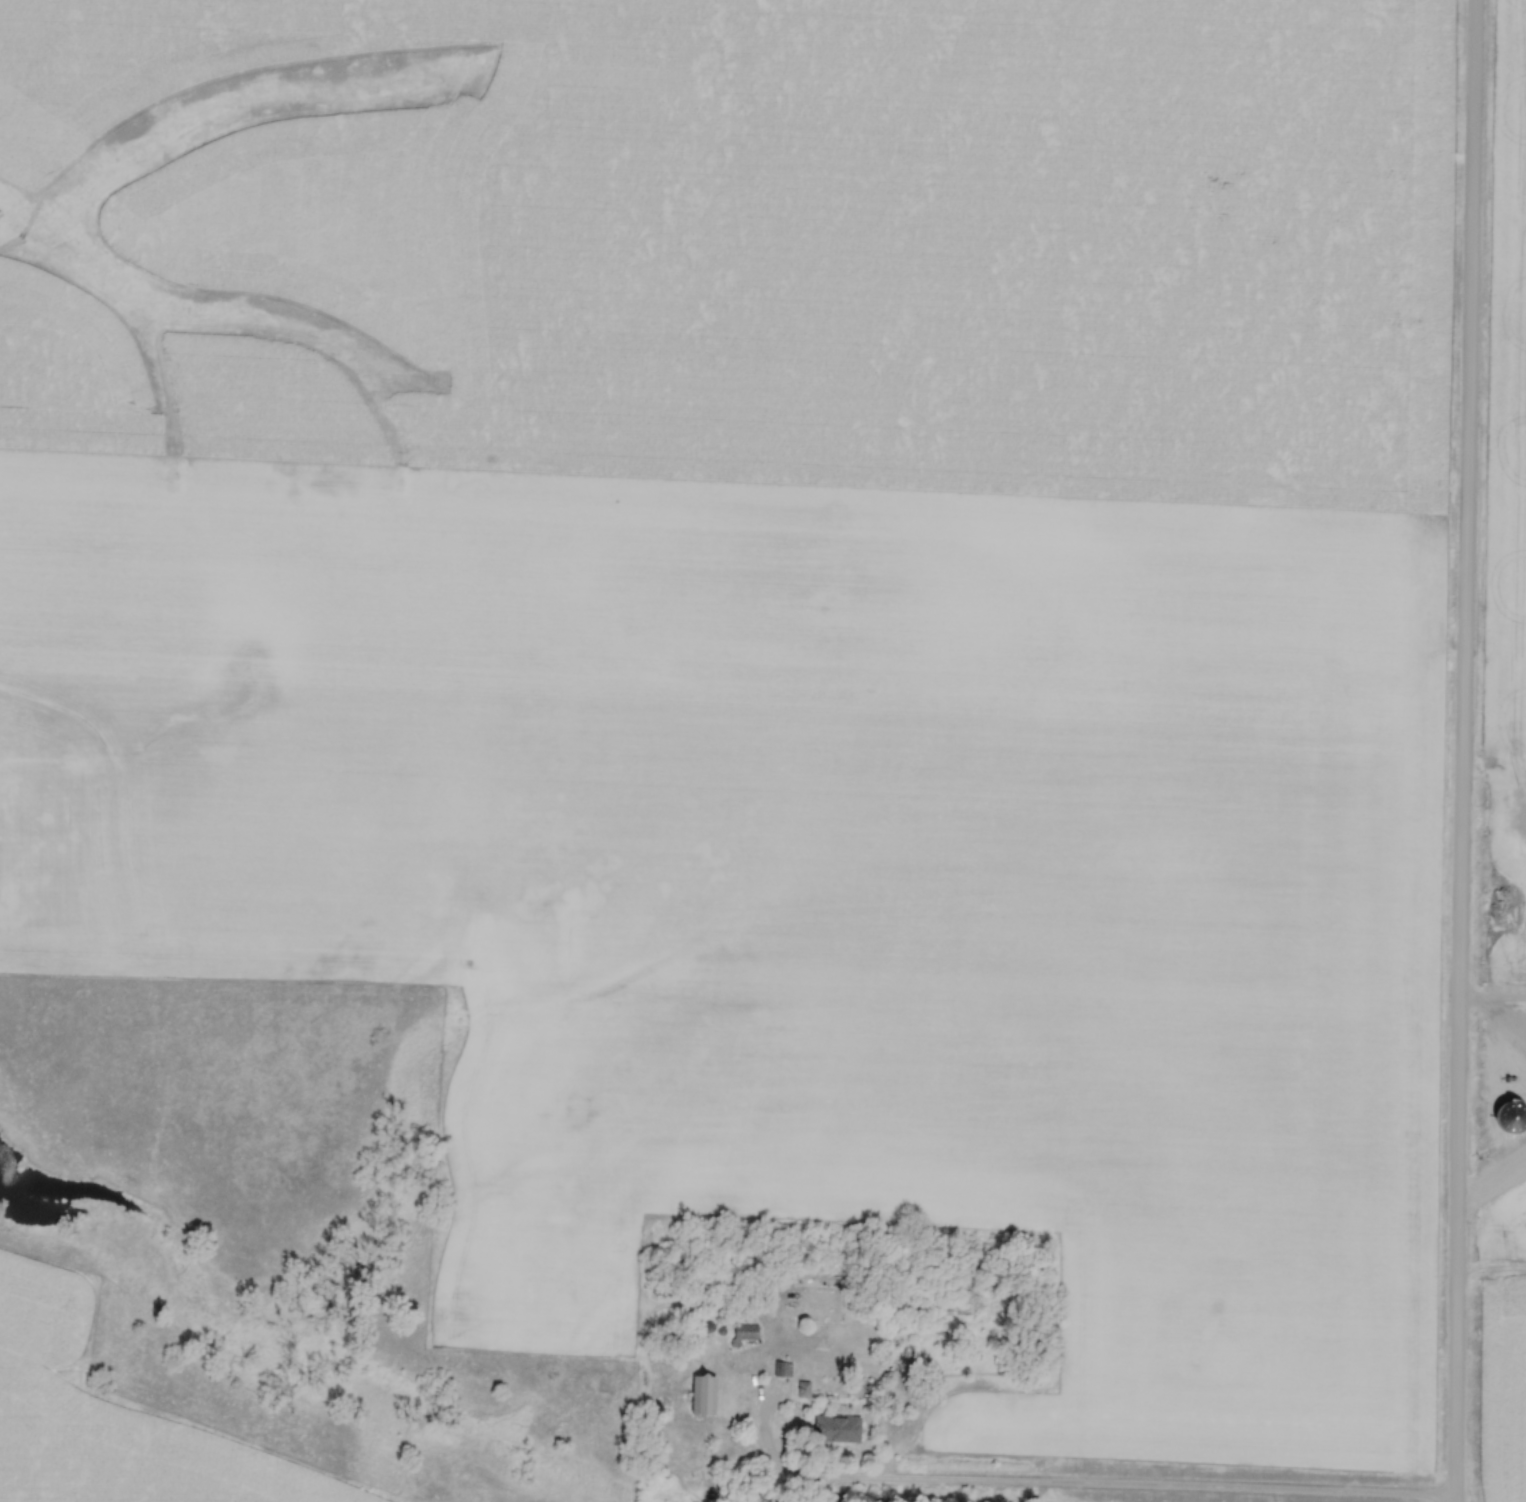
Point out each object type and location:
road: (1462, 750)
road: (1492, 999)
building: (800, 1304)
building: (746, 1330)
building: (704, 1394)
building: (835, 1428)
road: (1065, 1486)

